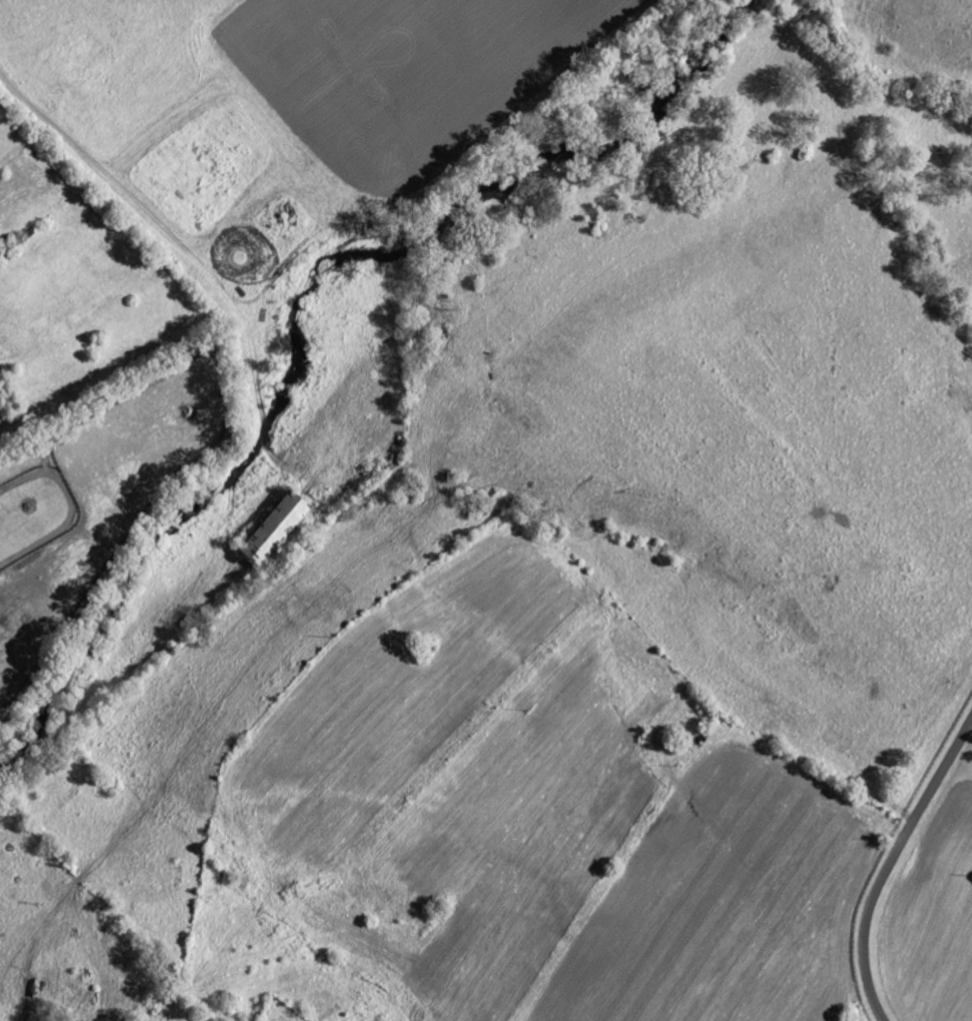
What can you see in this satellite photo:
building: (267, 529)
road: (890, 864)

